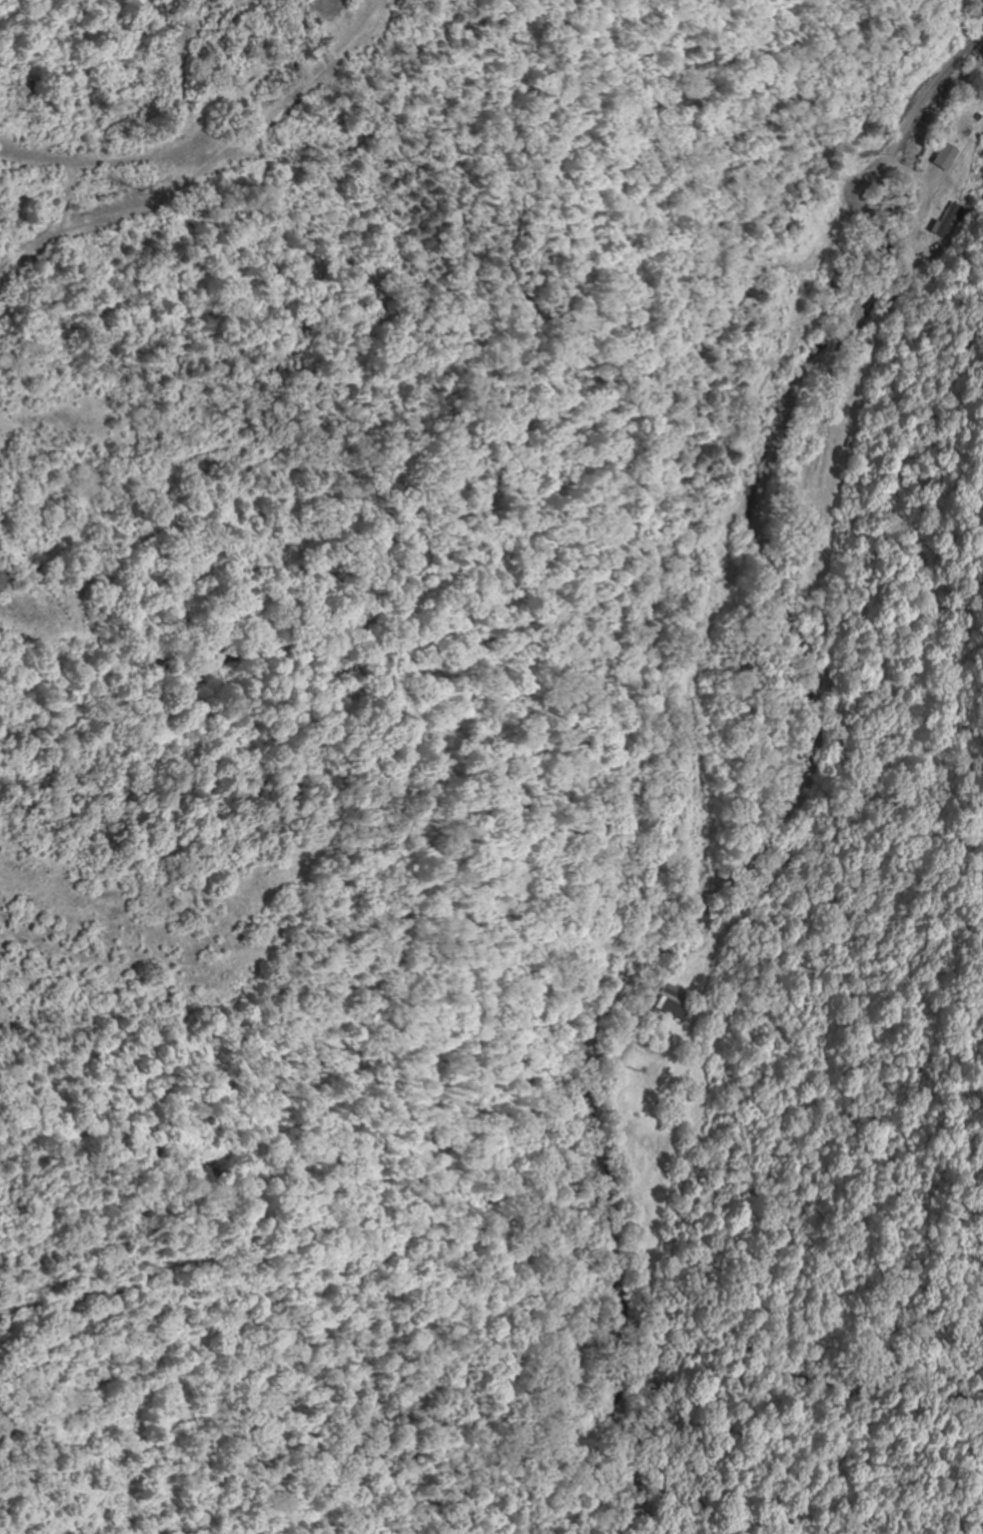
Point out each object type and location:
road: (946, 72)
road: (900, 139)

